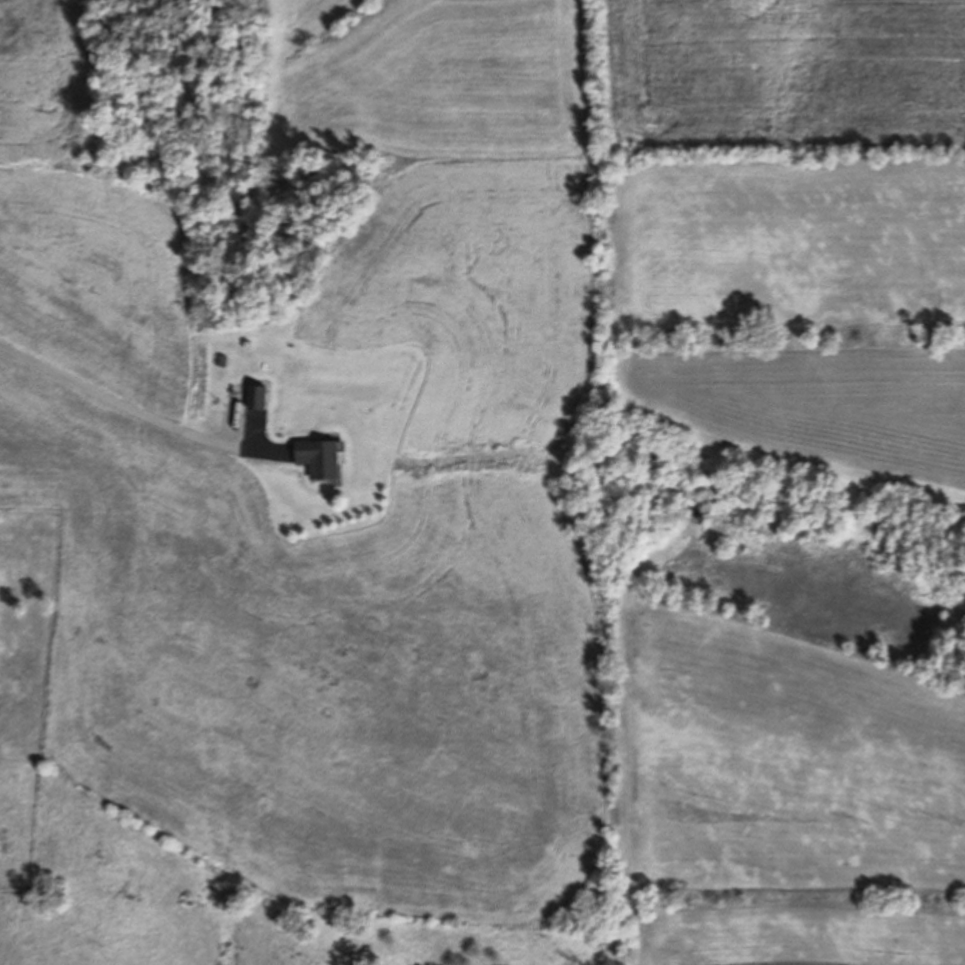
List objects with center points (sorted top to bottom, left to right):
building: (257, 399)
road: (138, 413)
building: (318, 459)

